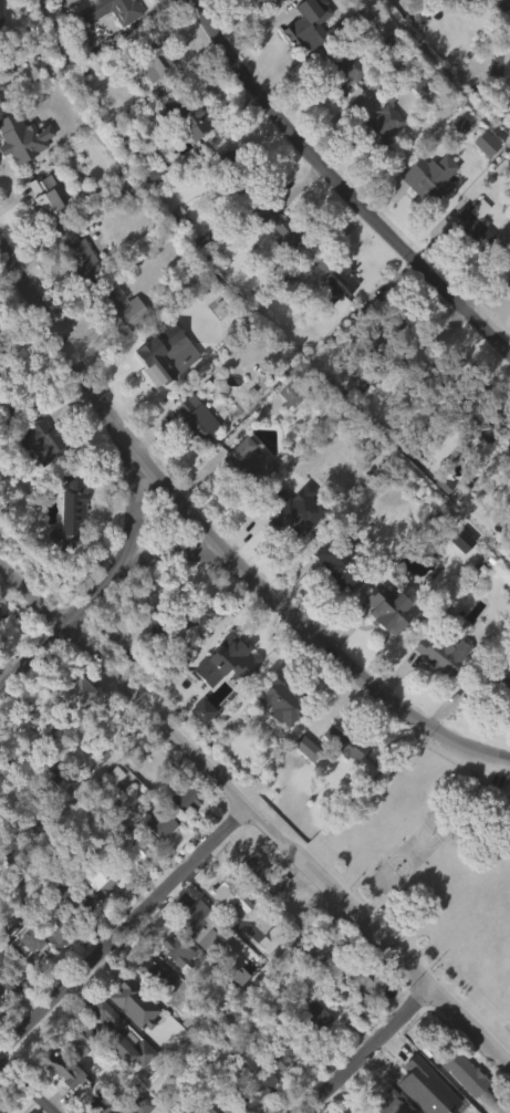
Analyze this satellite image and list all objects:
building: (268, 3)
building: (247, 4)
building: (500, 4)
building: (113, 10)
building: (299, 32)
building: (106, 41)
building: (305, 56)
building: (157, 64)
building: (344, 76)
building: (426, 81)
building: (2, 83)
building: (339, 112)
building: (179, 116)
building: (384, 119)
building: (23, 137)
building: (485, 142)
building: (179, 152)
building: (377, 157)
building: (456, 158)
building: (238, 171)
building: (20, 174)
building: (433, 178)
building: (480, 178)
road: (339, 187)
building: (43, 195)
building: (152, 207)
building: (425, 212)
building: (478, 225)
building: (285, 228)
building: (41, 230)
building: (82, 256)
building: (469, 259)
building: (277, 264)
building: (508, 273)
building: (339, 280)
building: (75, 290)
building: (122, 309)
building: (506, 311)
building: (330, 314)
building: (383, 332)
road: (65, 341)
building: (117, 344)
building: (393, 358)
building: (149, 365)
building: (428, 368)
building: (160, 388)
building: (292, 389)
building: (480, 417)
building: (196, 419)
building: (285, 429)
building: (41, 441)
building: (191, 451)
building: (475, 456)
building: (250, 462)
building: (507, 470)
building: (37, 476)
building: (246, 496)
building: (504, 496)
building: (69, 506)
building: (290, 513)
building: (439, 518)
building: (65, 547)
building: (287, 552)
road: (178, 553)
building: (333, 563)
road: (102, 582)
building: (458, 586)
building: (329, 600)
building: (389, 611)
building: (2, 612)
building: (180, 616)
road: (305, 625)
building: (385, 645)
building: (1, 648)
building: (188, 651)
building: (441, 654)
building: (499, 686)
building: (436, 688)
building: (73, 693)
building: (222, 695)
building: (280, 700)
building: (497, 726)
building: (72, 728)
building: (275, 737)
building: (347, 742)
building: (44, 773)
building: (339, 778)
building: (188, 798)
building: (110, 810)
road: (257, 811)
building: (54, 812)
building: (164, 824)
building: (11, 832)
building: (180, 832)
building: (137, 852)
building: (157, 860)
park: (435, 867)
building: (256, 871)
building: (96, 877)
building: (131, 886)
building: (228, 895)
building: (73, 901)
building: (250, 907)
building: (95, 914)
building: (199, 923)
road: (125, 927)
building: (52, 930)
building: (226, 934)
building: (72, 937)
building: (271, 938)
building: (27, 942)
building: (177, 950)
building: (194, 957)
building: (50, 969)
building: (156, 972)
building: (21, 978)
building: (10, 982)
building: (170, 982)
building: (367, 982)
building: (136, 1002)
building: (360, 1018)
building: (8, 1020)
building: (319, 1023)
building: (117, 1036)
building: (80, 1039)
road: (367, 1049)
building: (310, 1051)
building: (282, 1055)
building: (65, 1070)
building: (115, 1070)
building: (248, 1070)
building: (472, 1080)
road: (28, 1083)
building: (279, 1092)
building: (59, 1100)
building: (456, 1101)
building: (387, 1105)
building: (191, 1107)
building: (260, 1109)

